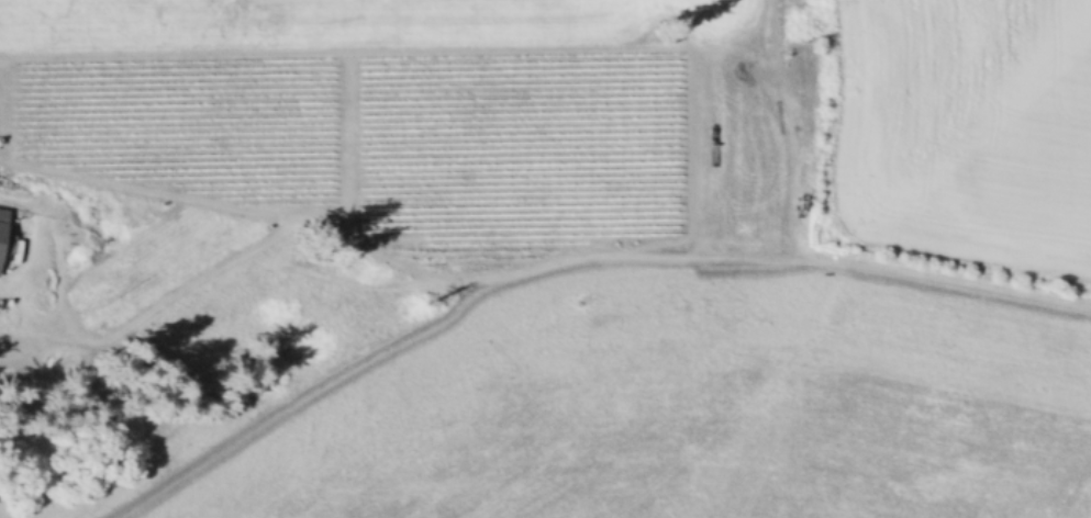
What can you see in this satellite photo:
road: (784, 120)
crop: (967, 126)
building: (3, 235)
crop: (555, 271)
road: (466, 280)

